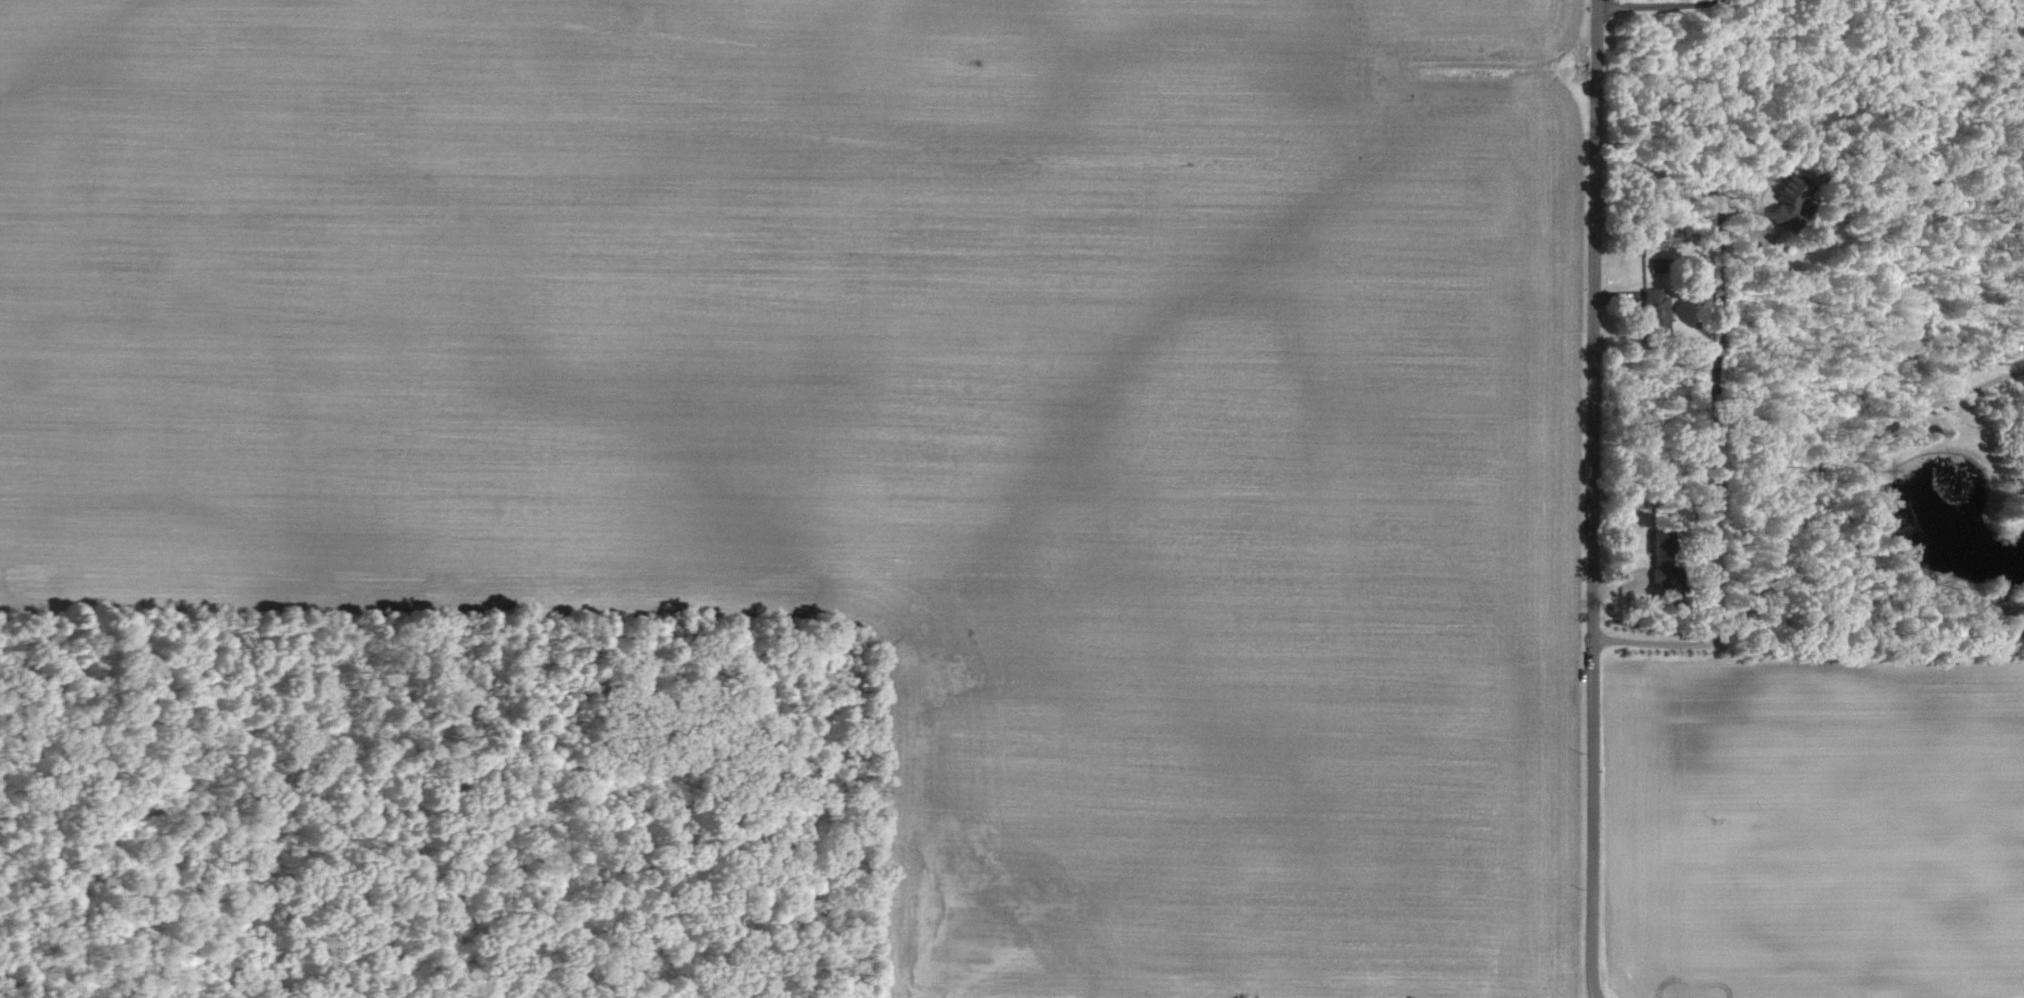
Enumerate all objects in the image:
road: (1686, 6)
road: (1717, 190)
building: (1791, 203)
building: (1656, 306)
road: (1591, 499)
road: (1803, 516)
building: (1666, 557)

